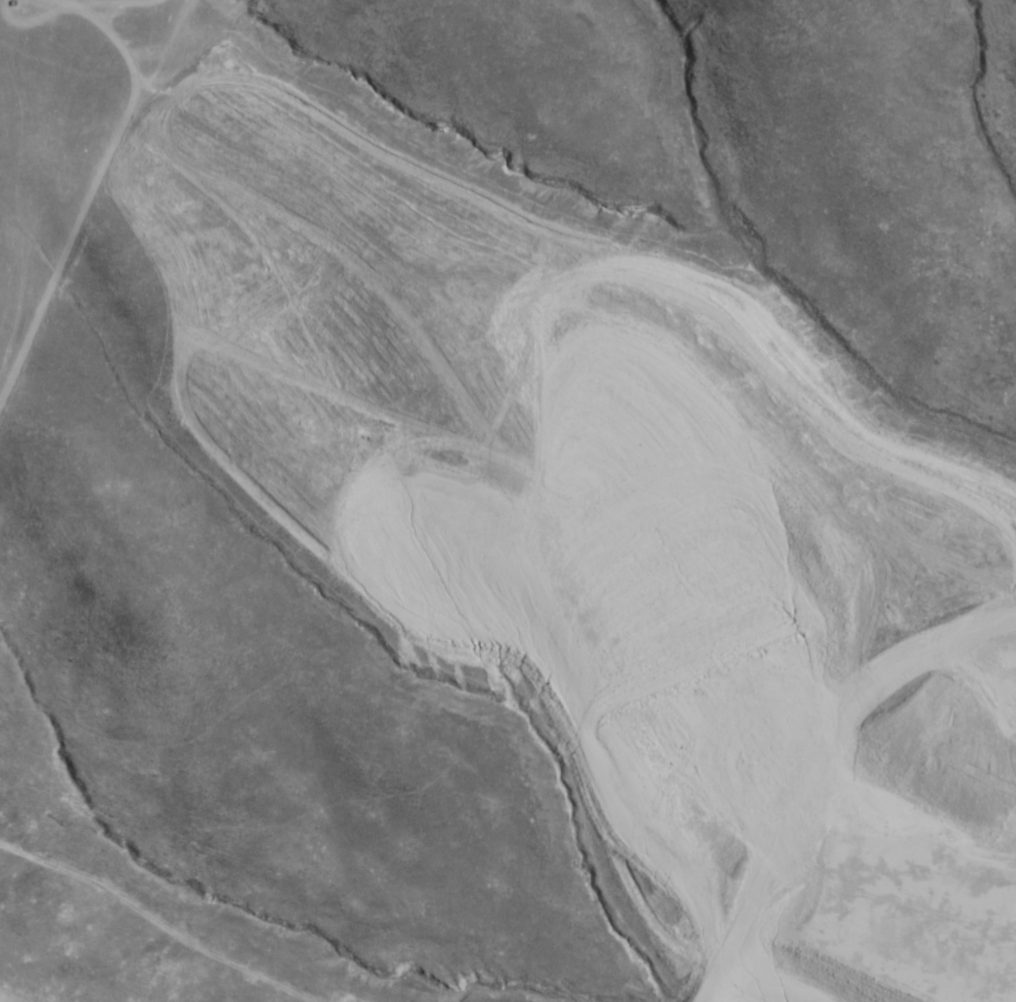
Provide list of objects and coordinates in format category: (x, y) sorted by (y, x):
road: (806, 758)

